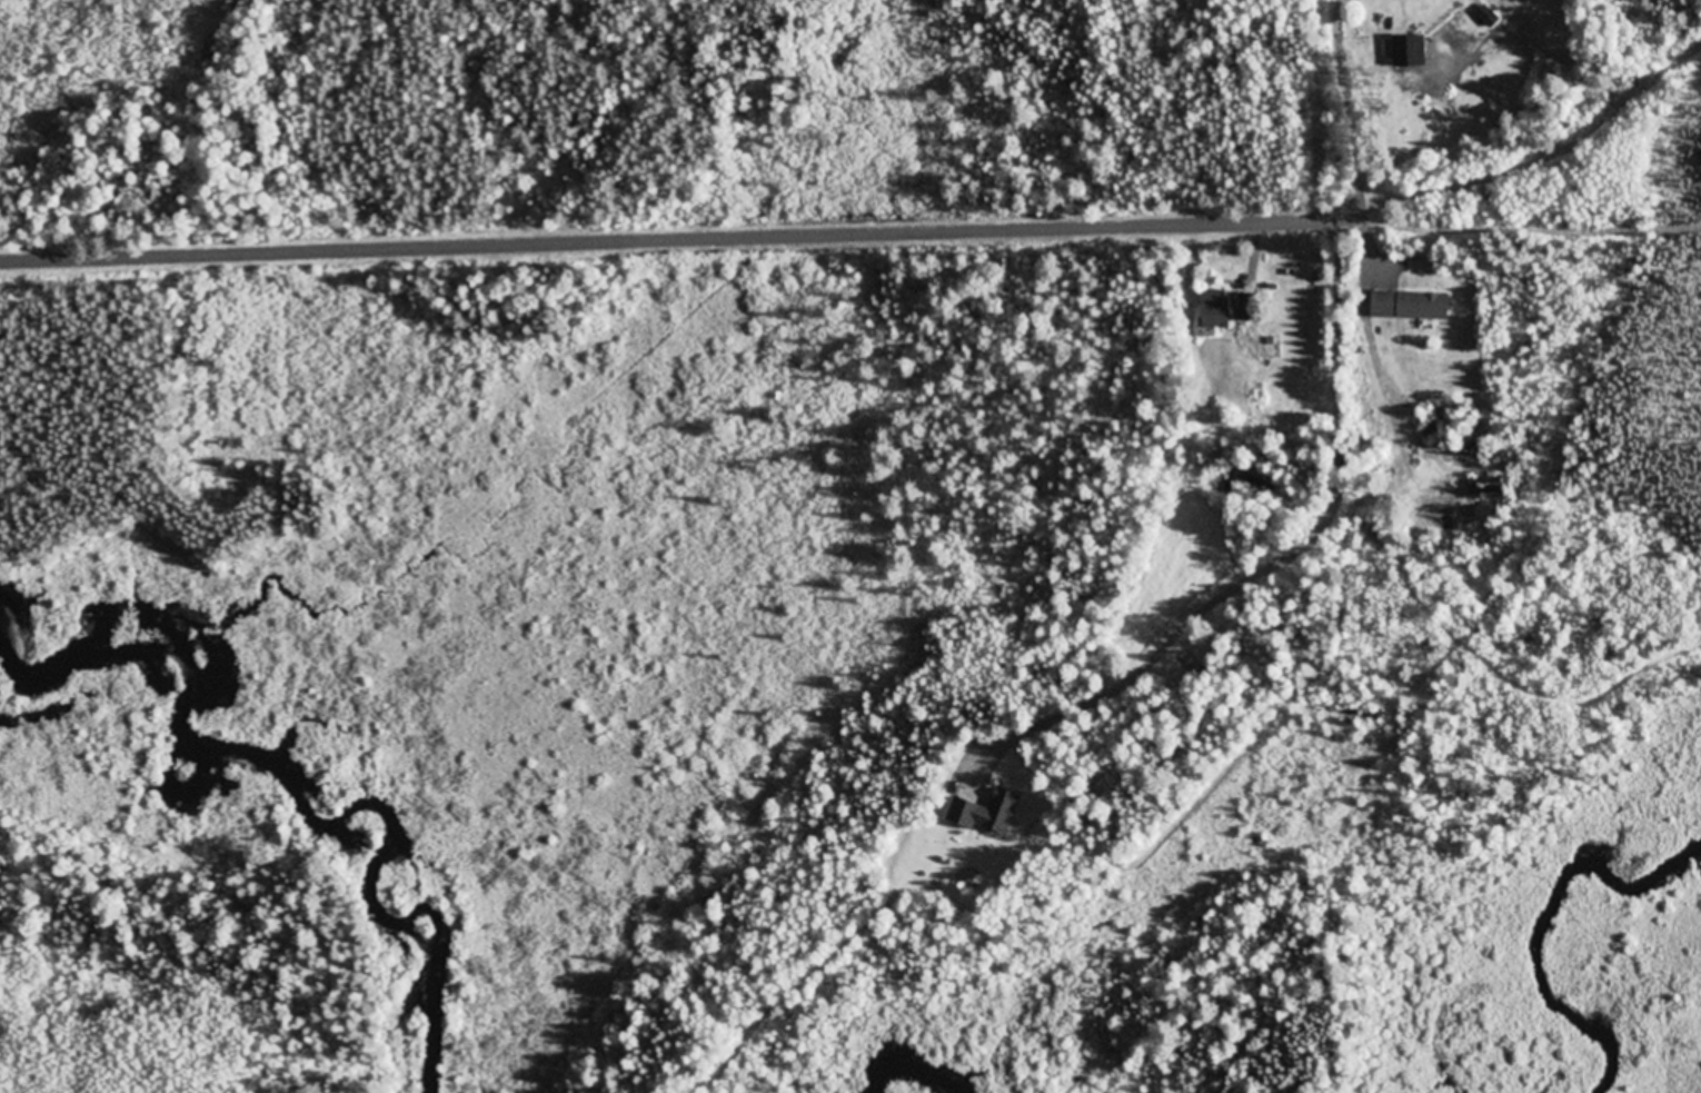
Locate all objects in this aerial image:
building: (1417, 52)
park: (149, 127)
road: (676, 241)
building: (1413, 307)
building: (1217, 310)
building: (989, 814)

